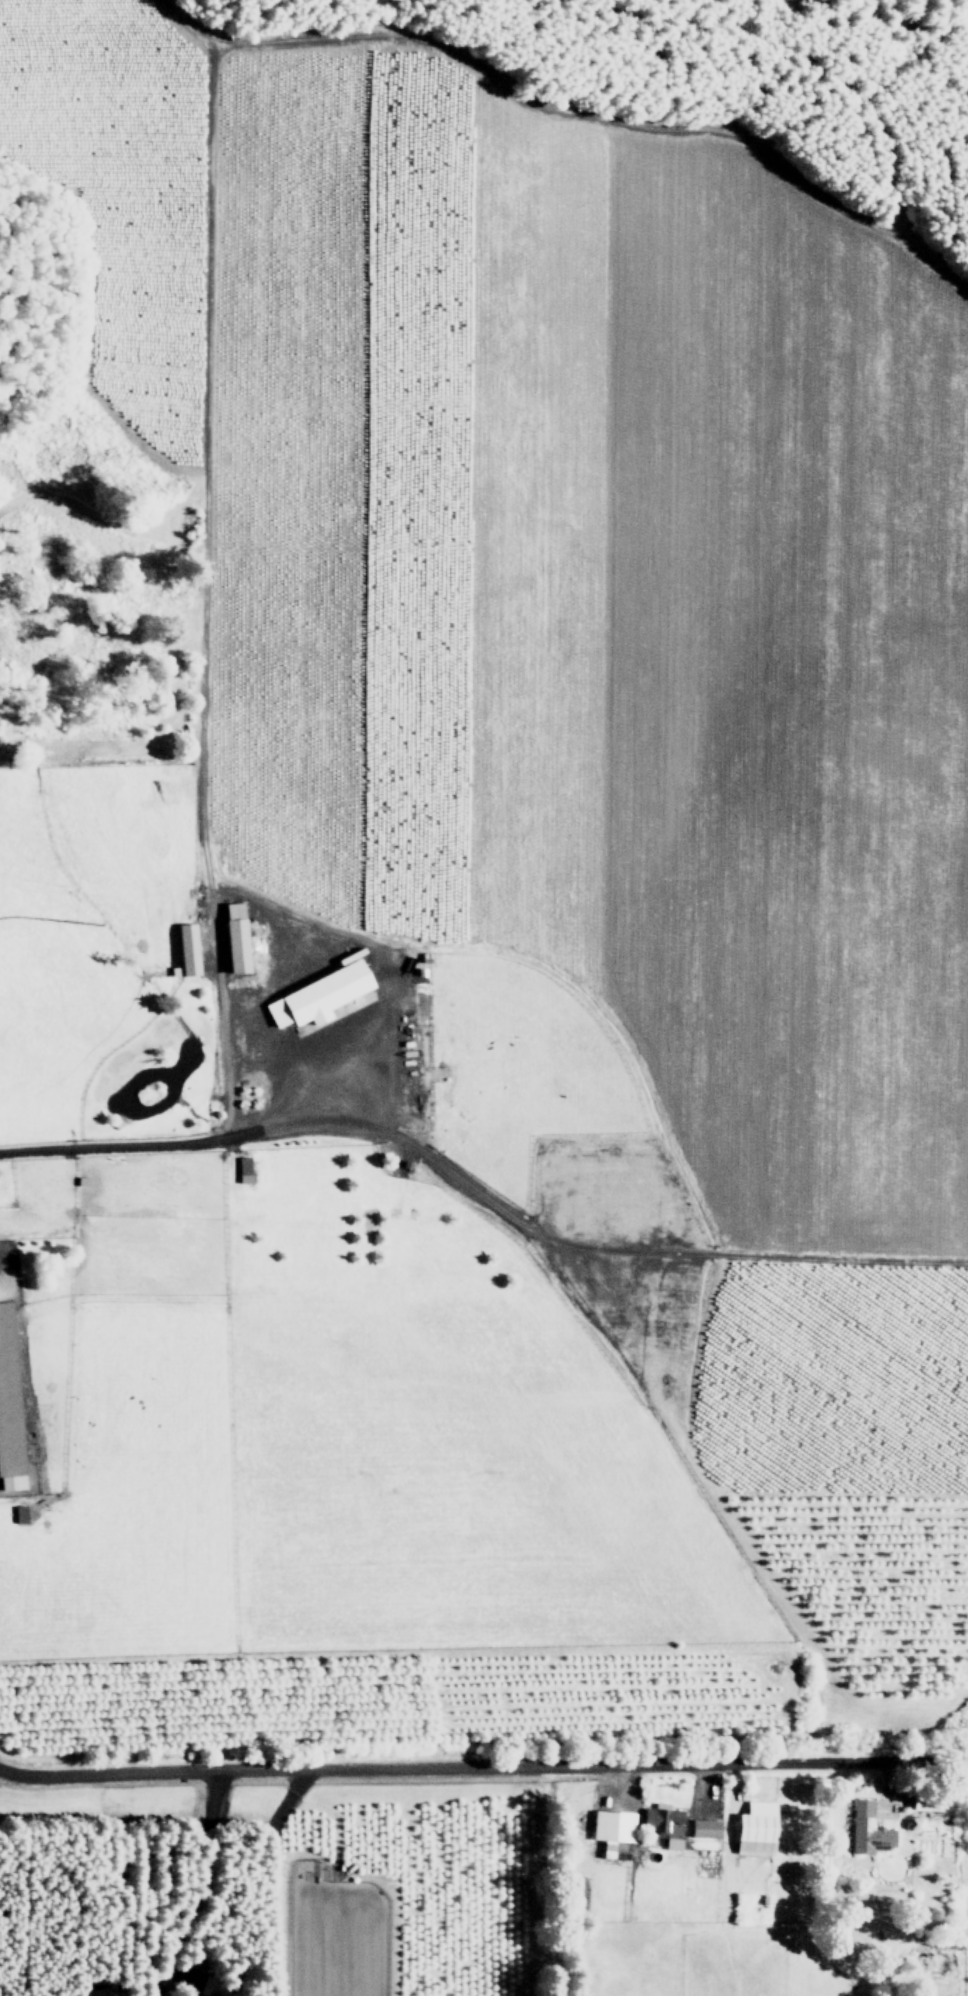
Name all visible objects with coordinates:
road: (573, 118)
building: (236, 938)
building: (187, 951)
building: (318, 996)
crop: (464, 1059)
road: (478, 1198)
building: (9, 1407)
building: (19, 1514)
road: (483, 1768)
building: (922, 1802)
building: (665, 1824)
building: (612, 1827)
building: (705, 1828)
building: (757, 1828)
building: (868, 1829)
building: (104, 1991)
building: (197, 1995)

